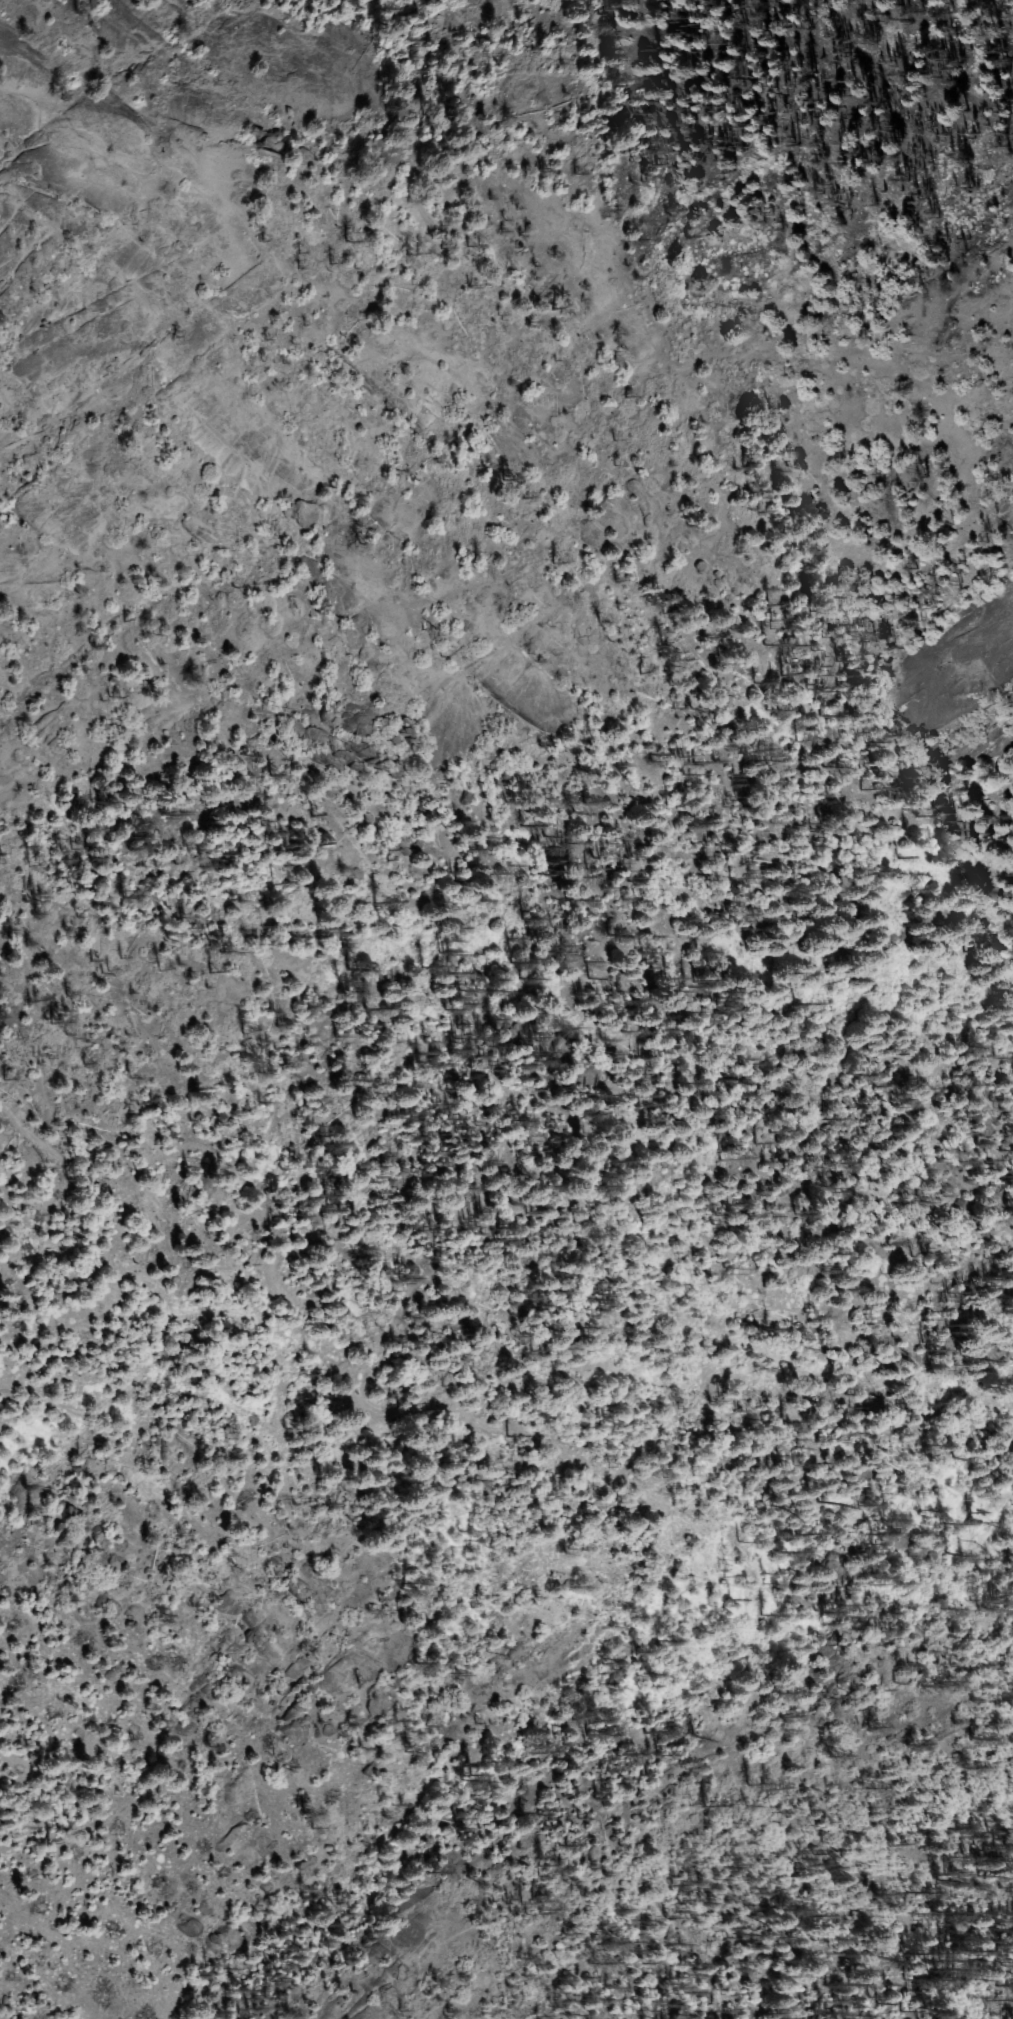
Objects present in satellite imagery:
road: (479, 231)

